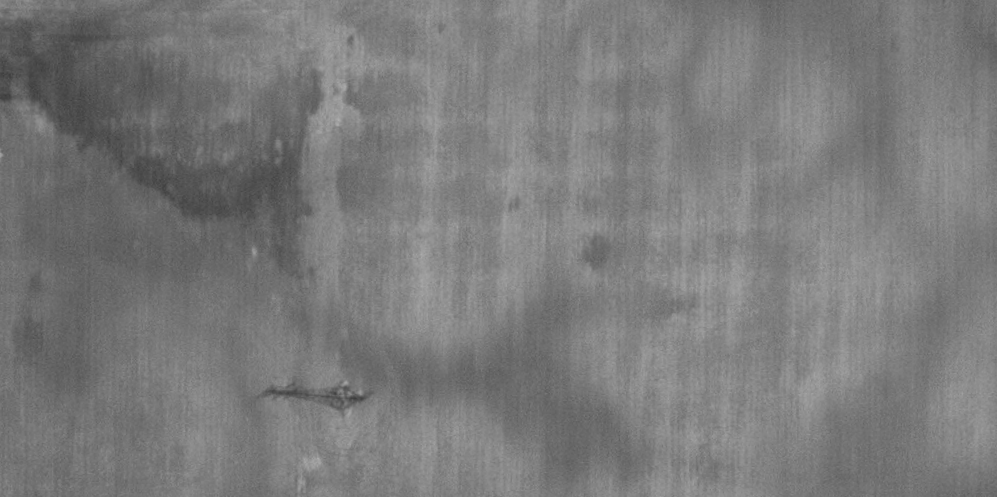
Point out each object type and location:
power tower: (348, 404)

